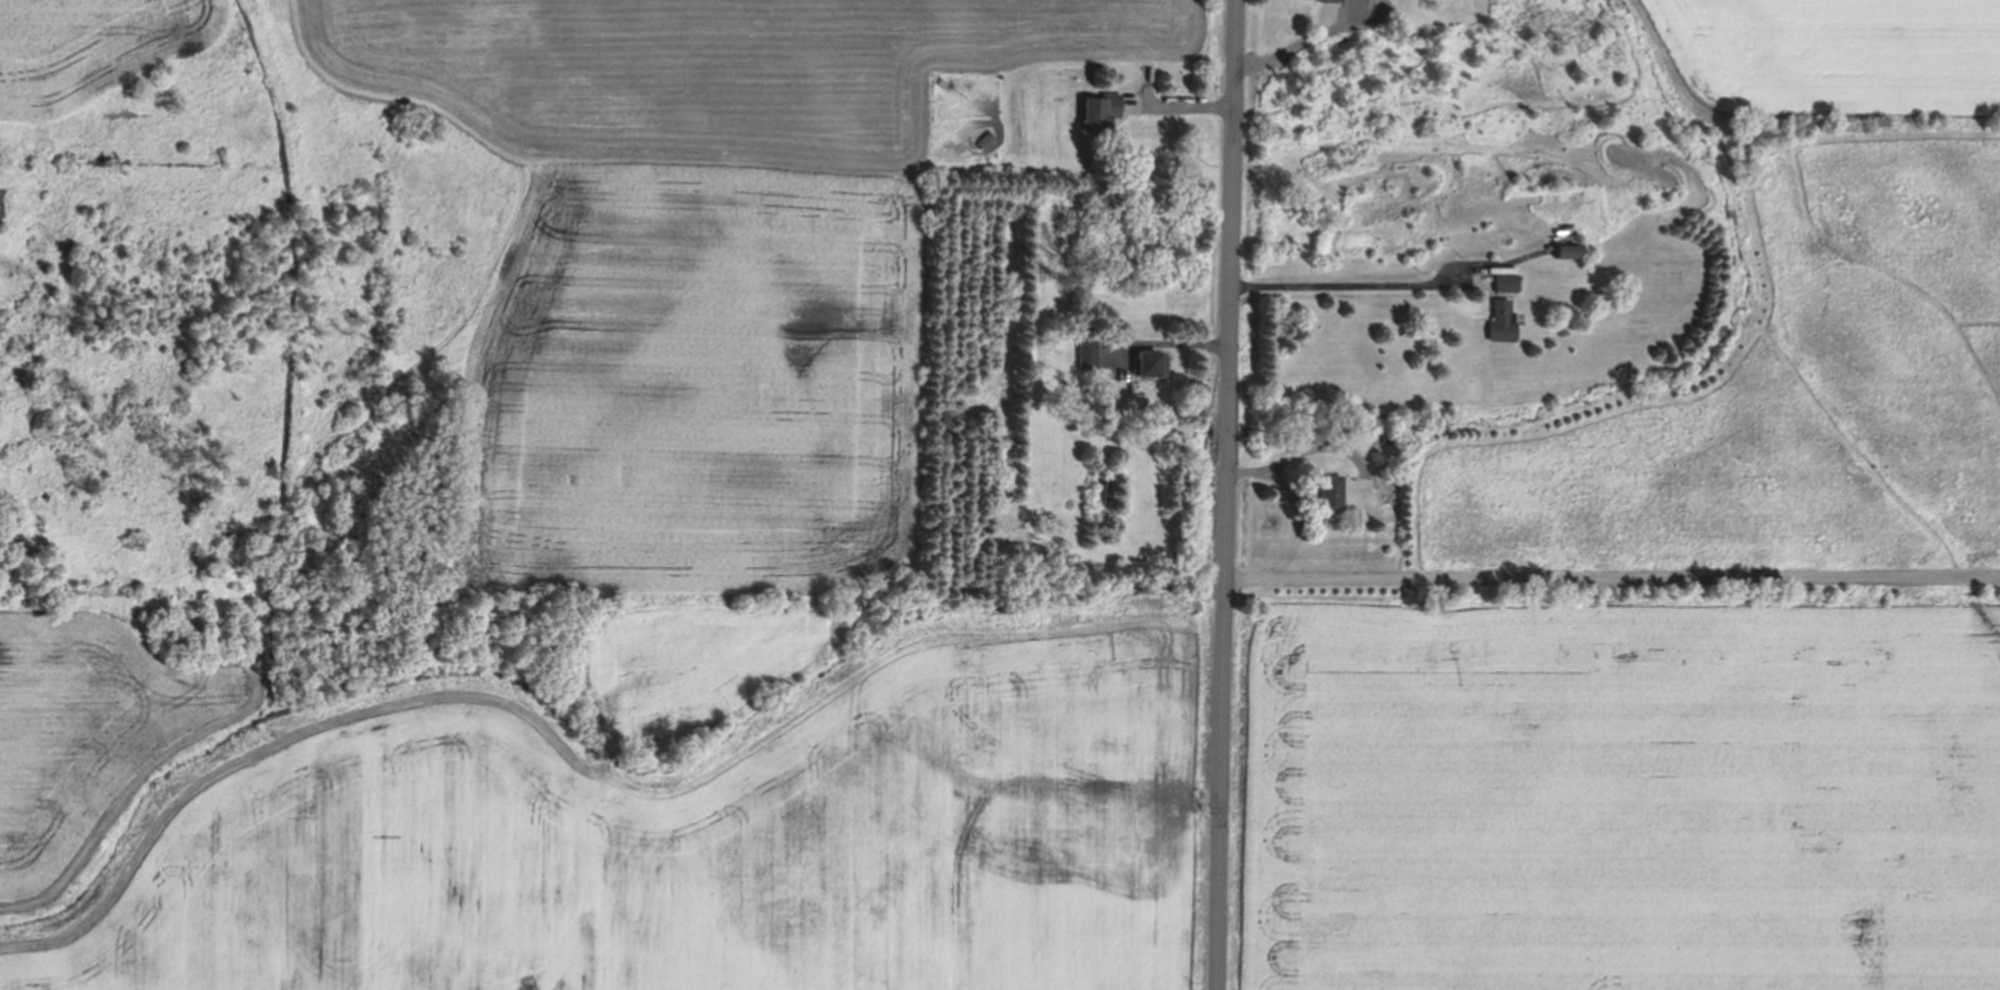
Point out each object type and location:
building: (1329, 2)
road: (1300, 41)
building: (941, 87)
road: (1180, 105)
building: (1102, 113)
building: (986, 141)
building: (1569, 251)
road: (1356, 284)
building: (1505, 285)
building: (1501, 324)
road: (1170, 343)
building: (1089, 354)
building: (1151, 367)
building: (1393, 440)
road: (1296, 455)
building: (1101, 480)
road: (1229, 495)
building: (1331, 496)
road: (1613, 574)

